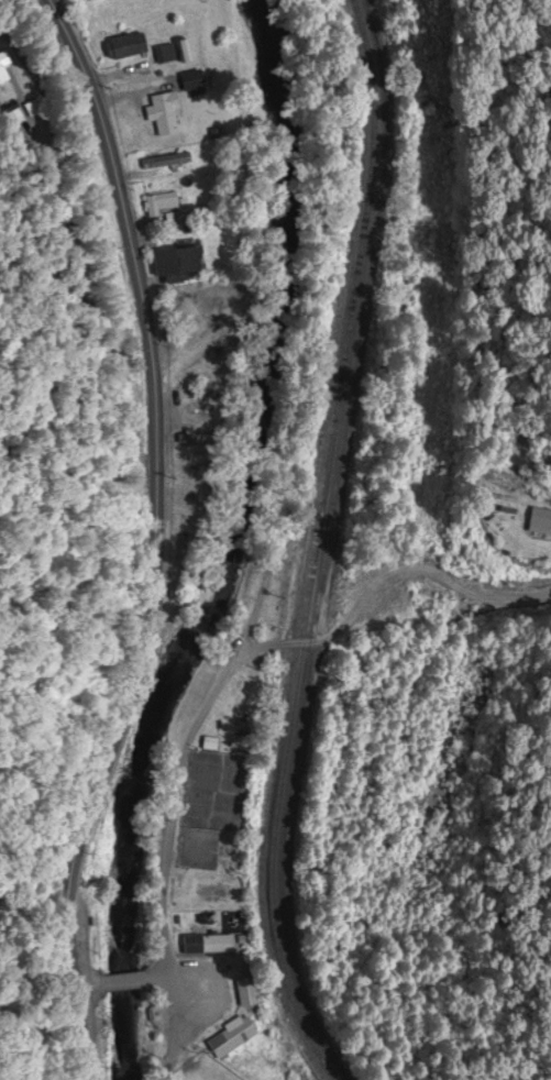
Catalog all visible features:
building: (129, 43)
building: (166, 54)
building: (4, 65)
building: (195, 77)
building: (163, 111)
building: (166, 162)
building: (176, 260)
building: (219, 290)
building: (184, 330)
building: (196, 436)
building: (195, 464)
building: (500, 504)
building: (540, 520)
building: (184, 537)
road: (152, 538)
river: (229, 544)
railway: (319, 545)
road: (240, 660)
building: (210, 743)
park: (212, 789)
road: (38, 842)
park: (196, 847)
building: (208, 941)
road: (123, 980)
road: (85, 982)
building: (246, 992)
building: (232, 1034)
park: (206, 1071)

